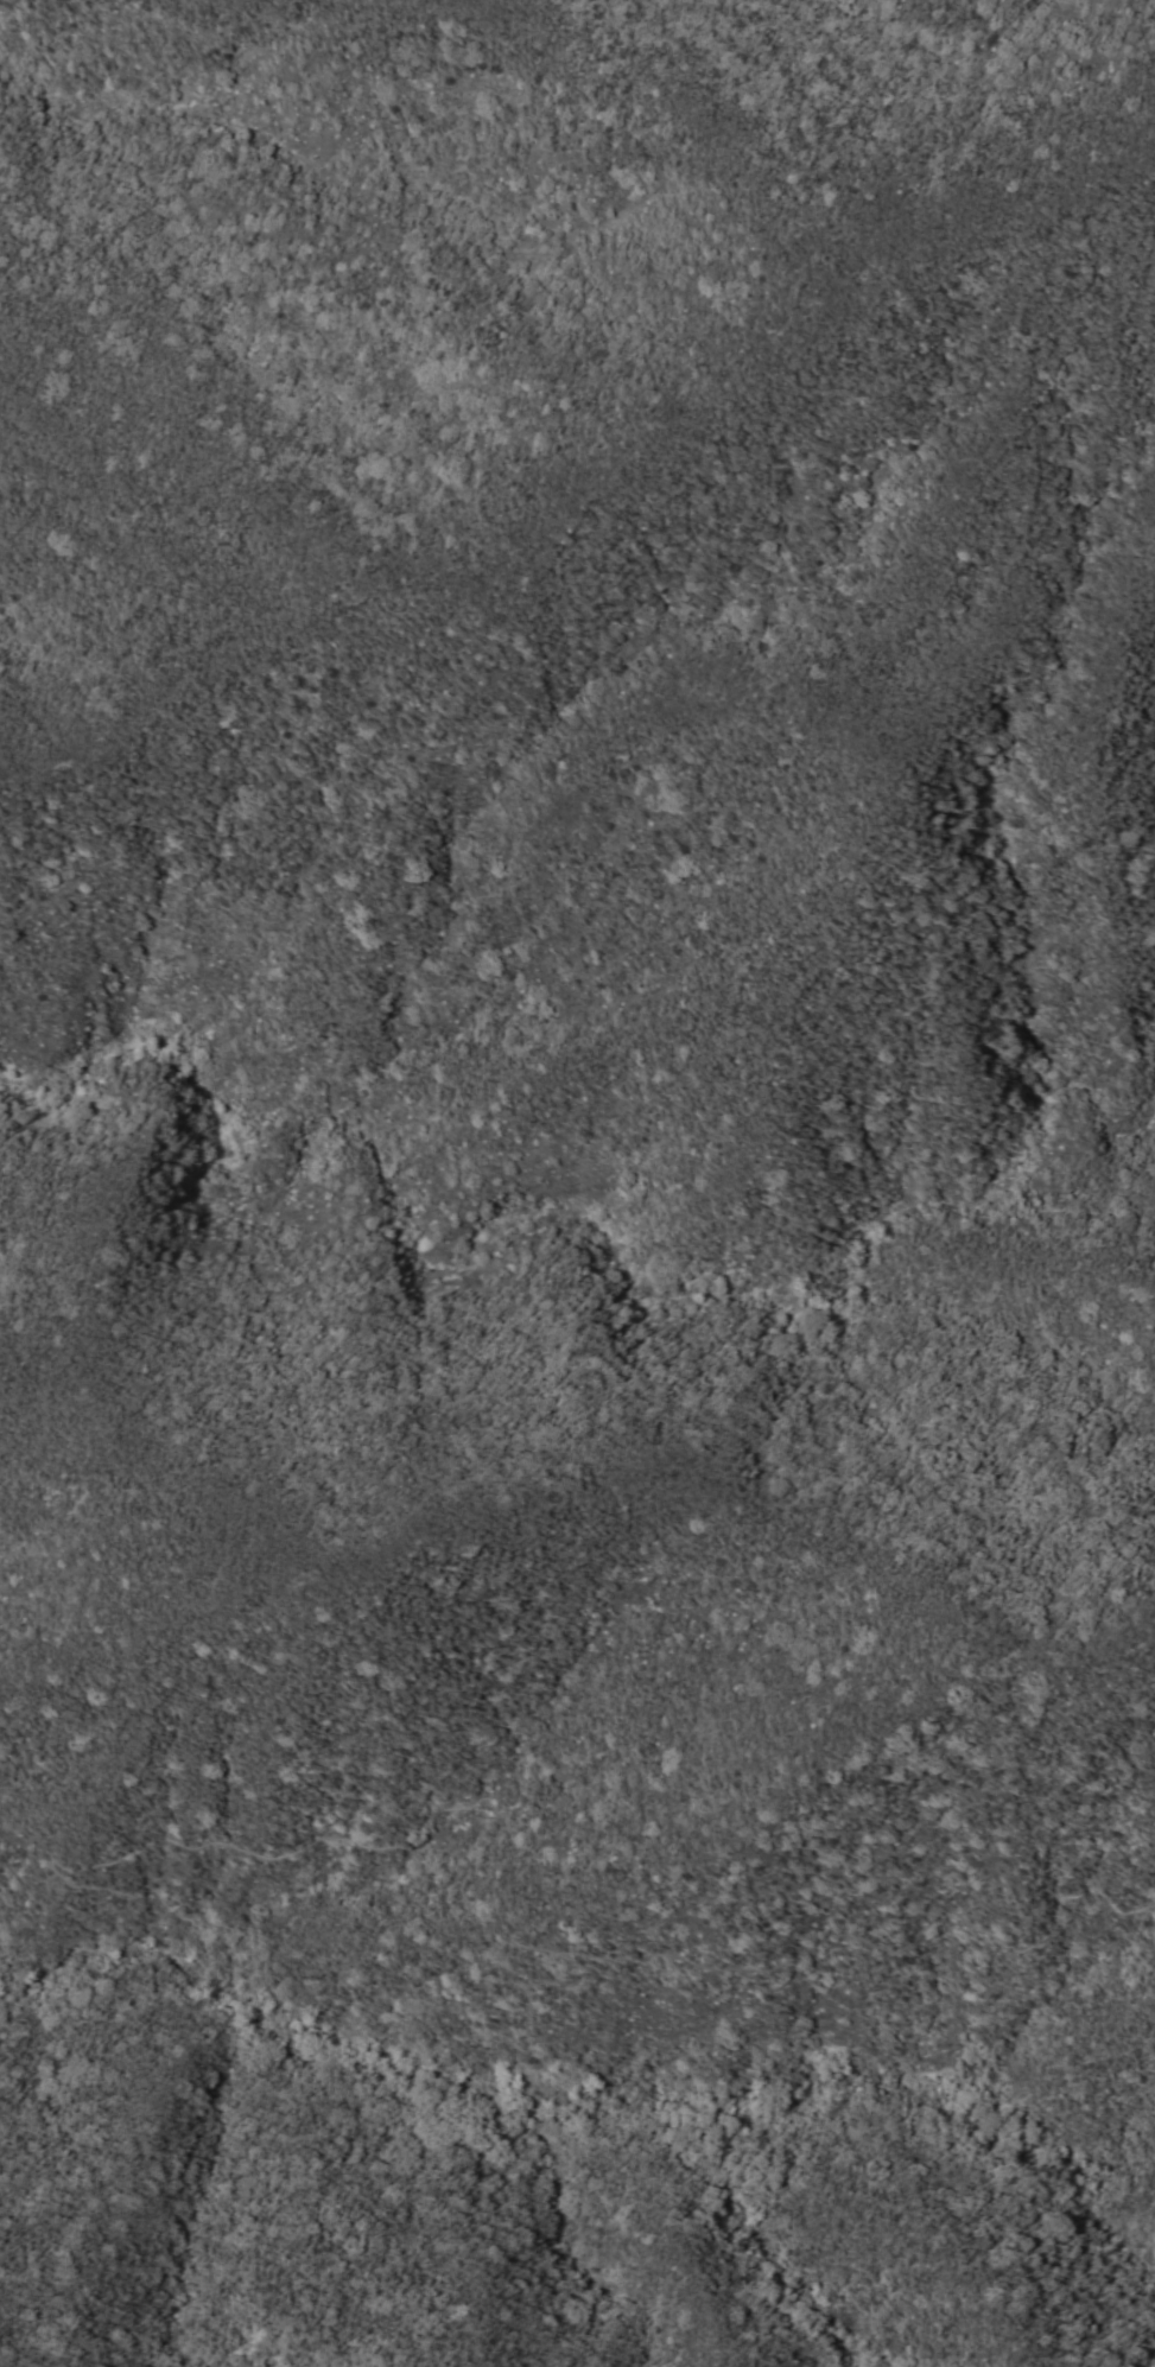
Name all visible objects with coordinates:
road: (503, 1811)

